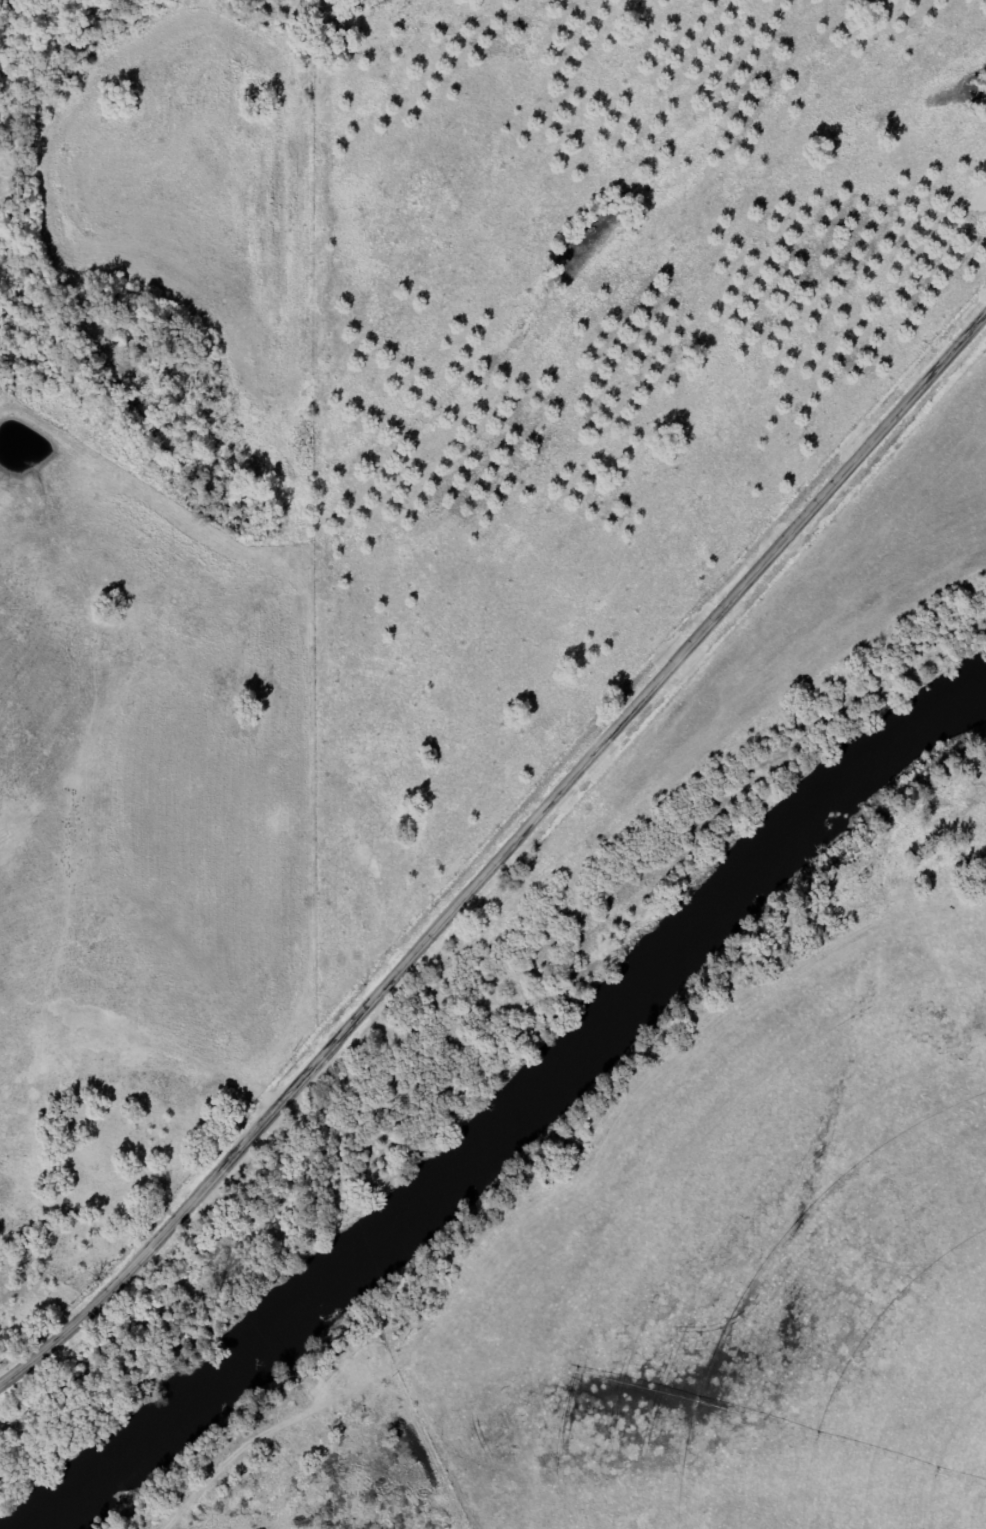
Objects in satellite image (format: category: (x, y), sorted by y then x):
road: (500, 860)
river: (514, 1113)

